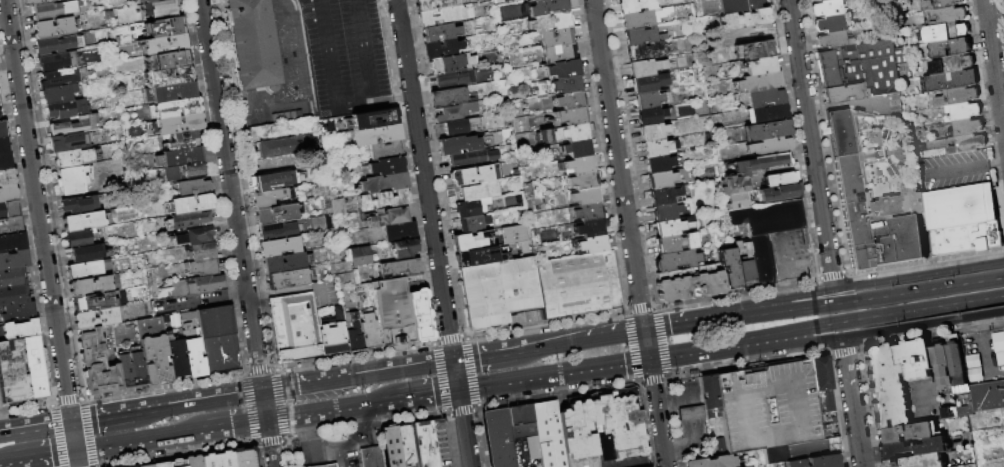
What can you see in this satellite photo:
building: (58, 0)
building: (146, 0)
building: (159, 0)
building: (532, 0)
building: (822, 0)
building: (540, 1)
building: (34, 2)
building: (940, 4)
building: (434, 5)
building: (637, 5)
building: (736, 6)
building: (548, 7)
building: (826, 8)
building: (160, 9)
building: (52, 10)
building: (951, 15)
building: (438, 16)
road: (1002, 17)
building: (643, 18)
building: (742, 19)
road: (993, 19)
building: (549, 22)
building: (829, 23)
building: (165, 26)
building: (54, 28)
building: (440, 32)
building: (943, 33)
building: (642, 36)
building: (556, 37)
building: (833, 40)
building: (252, 43)
building: (164, 44)
building: (56, 45)
road: (364, 47)
building: (951, 48)
building: (442, 49)
building: (646, 51)
building: (748, 51)
building: (558, 53)
road: (327, 54)
building: (167, 59)
building: (55, 62)
building: (450, 64)
building: (953, 64)
road: (993, 64)
building: (862, 65)
building: (759, 66)
building: (644, 68)
building: (563, 69)
building: (167, 76)
building: (57, 78)
building: (454, 78)
building: (952, 81)
building: (759, 82)
building: (648, 83)
building: (556, 86)
building: (169, 92)
building: (58, 94)
building: (845, 94)
road: (364, 95)
building: (958, 96)
building: (446, 97)
building: (764, 98)
building: (570, 100)
building: (646, 101)
road: (373, 102)
building: (176, 107)
building: (66, 109)
building: (963, 111)
building: (455, 112)
building: (765, 114)
building: (571, 116)
building: (648, 117)
building: (376, 120)
building: (178, 123)
building: (72, 126)
building: (457, 126)
building: (966, 128)
building: (2, 129)
building: (766, 130)
building: (651, 132)
building: (564, 133)
building: (840, 133)
building: (376, 135)
building: (183, 139)
building: (68, 142)
road: (810, 144)
building: (969, 144)
building: (3, 145)
building: (458, 145)
building: (768, 147)
building: (276, 148)
building: (576, 148)
building: (655, 149)
building: (384, 150)
building: (178, 157)
building: (471, 157)
building: (72, 158)
building: (316, 159)
building: (4, 162)
building: (760, 163)
building: (579, 164)
road: (618, 164)
building: (657, 164)
building: (386, 166)
road: (964, 167)
building: (192, 170)
building: (171, 174)
building: (473, 175)
building: (7, 178)
building: (663, 179)
building: (70, 180)
building: (273, 180)
road: (424, 180)
building: (583, 180)
building: (780, 180)
building: (383, 183)
building: (733, 185)
building: (847, 185)
building: (192, 188)
building: (326, 190)
building: (476, 192)
building: (778, 193)
building: (7, 194)
building: (665, 195)
road: (230, 196)
building: (585, 196)
building: (269, 197)
building: (382, 200)
building: (735, 202)
building: (918, 203)
building: (188, 205)
building: (961, 205)
building: (78, 206)
building: (888, 206)
building: (337, 207)
building: (471, 208)
building: (8, 210)
building: (587, 212)
building: (664, 212)
building: (276, 214)
building: (387, 217)
building: (187, 219)
building: (766, 219)
building: (84, 221)
building: (473, 224)
building: (10, 226)
building: (670, 227)
building: (925, 227)
building: (590, 228)
building: (271, 231)
building: (398, 231)
road: (40, 233)
building: (193, 236)
building: (512, 236)
building: (966, 238)
building: (77, 240)
building: (470, 241)
building: (12, 242)
building: (592, 244)
building: (674, 244)
building: (278, 247)
building: (403, 248)
building: (201, 252)
building: (85, 253)
building: (355, 256)
building: (760, 260)
building: (13, 261)
building: (675, 261)
building: (742, 261)
building: (282, 263)
building: (201, 267)
building: (400, 268)
building: (727, 268)
building: (88, 270)
building: (354, 277)
building: (10, 279)
building: (286, 279)
building: (339, 280)
road: (874, 281)
building: (577, 284)
building: (687, 284)
building: (194, 285)
road: (951, 285)
building: (94, 286)
building: (498, 291)
road: (284, 292)
road: (236, 295)
building: (11, 296)
road: (322, 296)
building: (92, 302)
road: (189, 303)
road: (953, 303)
road: (823, 305)
building: (392, 312)
building: (17, 313)
building: (419, 315)
building: (95, 318)
road: (695, 321)
building: (165, 323)
road: (827, 325)
building: (293, 327)
building: (19, 330)
traffic signals: (644, 330)
building: (368, 331)
road: (878, 334)
building: (332, 335)
building: (353, 335)
road: (982, 336)
building: (215, 338)
road: (578, 341)
road: (646, 344)
building: (998, 345)
road: (713, 348)
building: (153, 351)
building: (192, 354)
building: (175, 356)
road: (482, 356)
road: (661, 356)
traffic signals: (649, 359)
building: (955, 359)
traffic signals: (453, 361)
building: (134, 364)
building: (941, 364)
building: (95, 365)
building: (122, 368)
road: (399, 369)
building: (21, 371)
road: (553, 373)
road: (455, 375)
building: (822, 382)
building: (919, 383)
road: (304, 385)
building: (885, 386)
traffic signals: (458, 389)
road: (736, 389)
building: (962, 389)
road: (427, 394)
building: (709, 396)
building: (988, 397)
road: (197, 402)
road: (851, 402)
road: (264, 406)
building: (767, 406)
parking lot: (767, 407)
road: (330, 409)
road: (657, 413)
building: (690, 413)
building: (946, 413)
road: (101, 417)
building: (438, 421)
building: (521, 422)
traffic signals: (71, 423)
road: (235, 425)
building: (827, 425)
road: (35, 428)
road: (463, 428)
building: (617, 429)
road: (0, 430)
building: (912, 433)
building: (576, 434)
building: (548, 435)
building: (498, 439)
road: (140, 440)
road: (368, 441)
road: (269, 443)
building: (405, 444)
building: (424, 444)
building: (391, 446)
building: (913, 449)
road: (333, 450)
building: (800, 450)
traffic signals: (75, 451)
road: (807, 451)
road: (44, 455)
building: (244, 457)
building: (370, 457)
road: (344, 458)
building: (217, 460)
road: (312, 460)
building: (193, 461)
building: (917, 461)
road: (7, 462)
building: (711, 462)
building: (815, 462)
building: (177, 463)
road: (14, 464)
building: (161, 464)
building: (133, 466)
building: (147, 466)
building: (328, 466)

